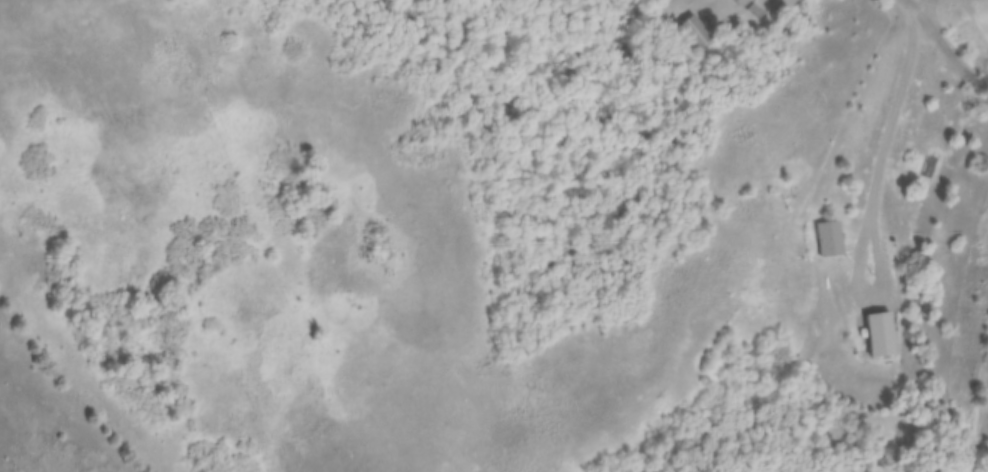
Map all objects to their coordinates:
building: (741, 3)
building: (757, 13)
building: (696, 33)
road: (947, 49)
road: (887, 149)
building: (834, 239)
building: (874, 336)
building: (987, 471)

